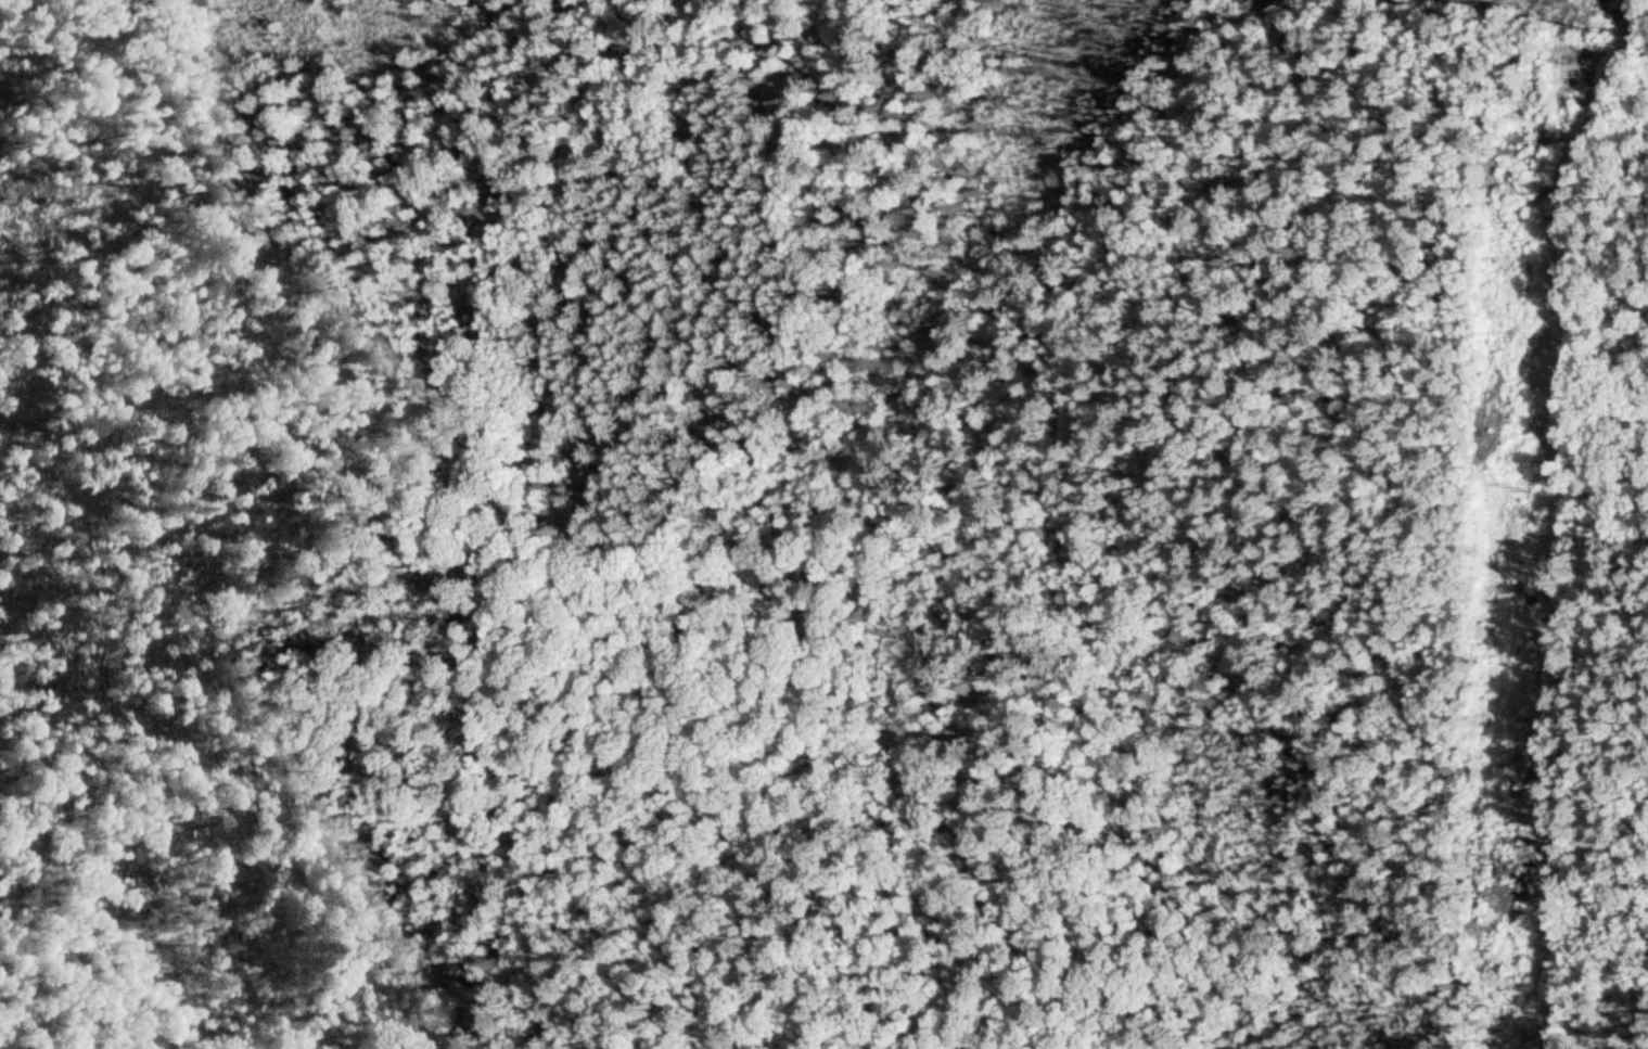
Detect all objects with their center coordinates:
road: (159, 540)

